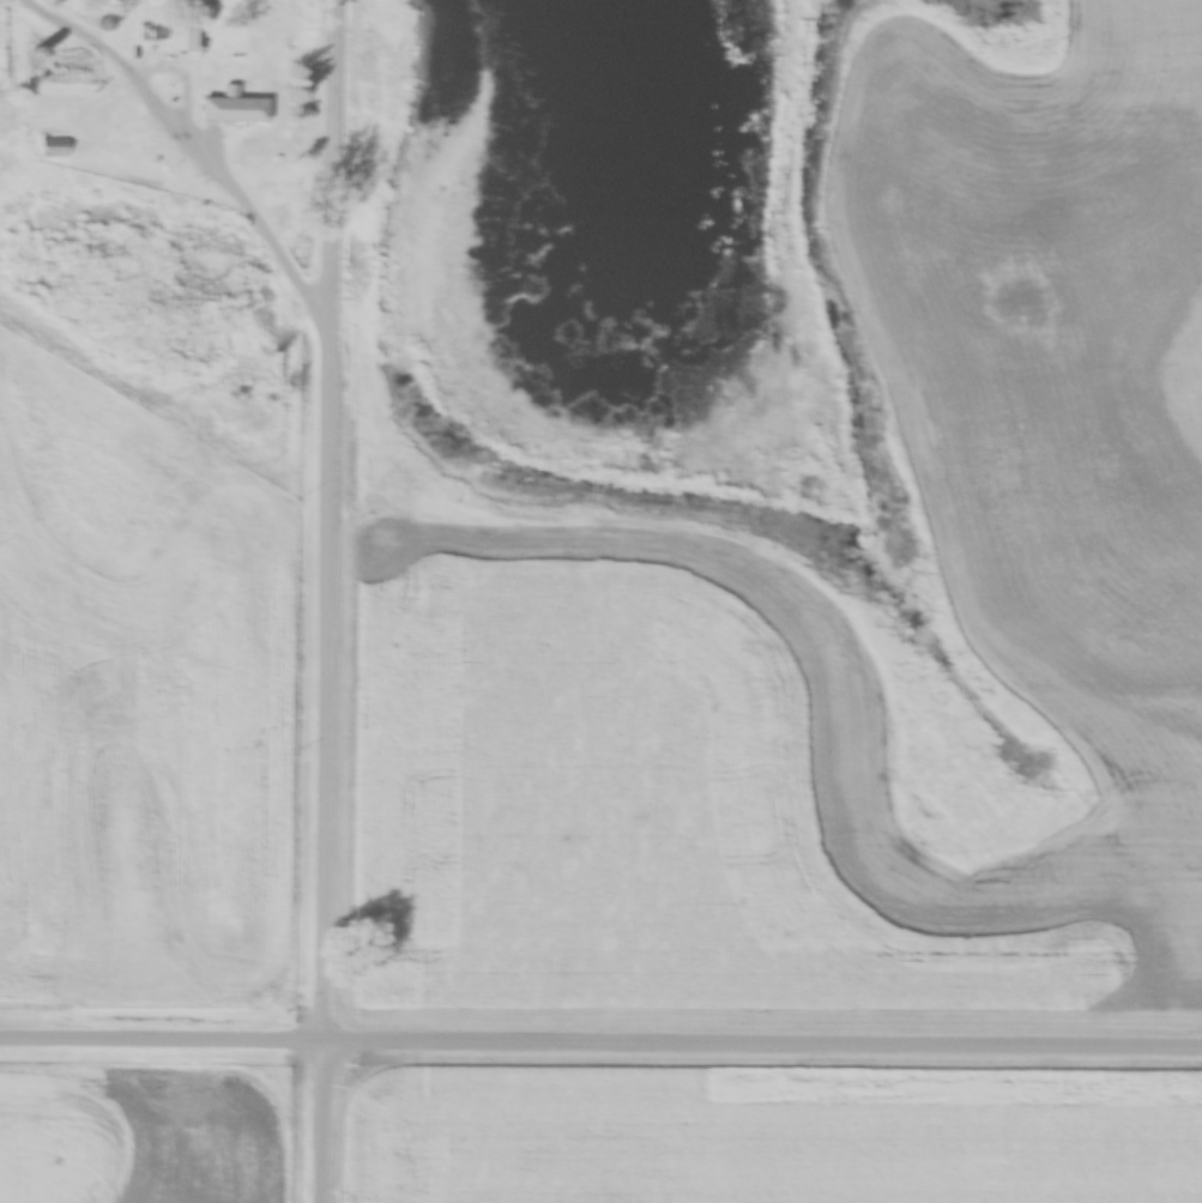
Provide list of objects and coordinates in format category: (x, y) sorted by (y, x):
building: (181, 35)
building: (72, 61)
building: (232, 108)
road: (326, 600)
road: (600, 1039)

